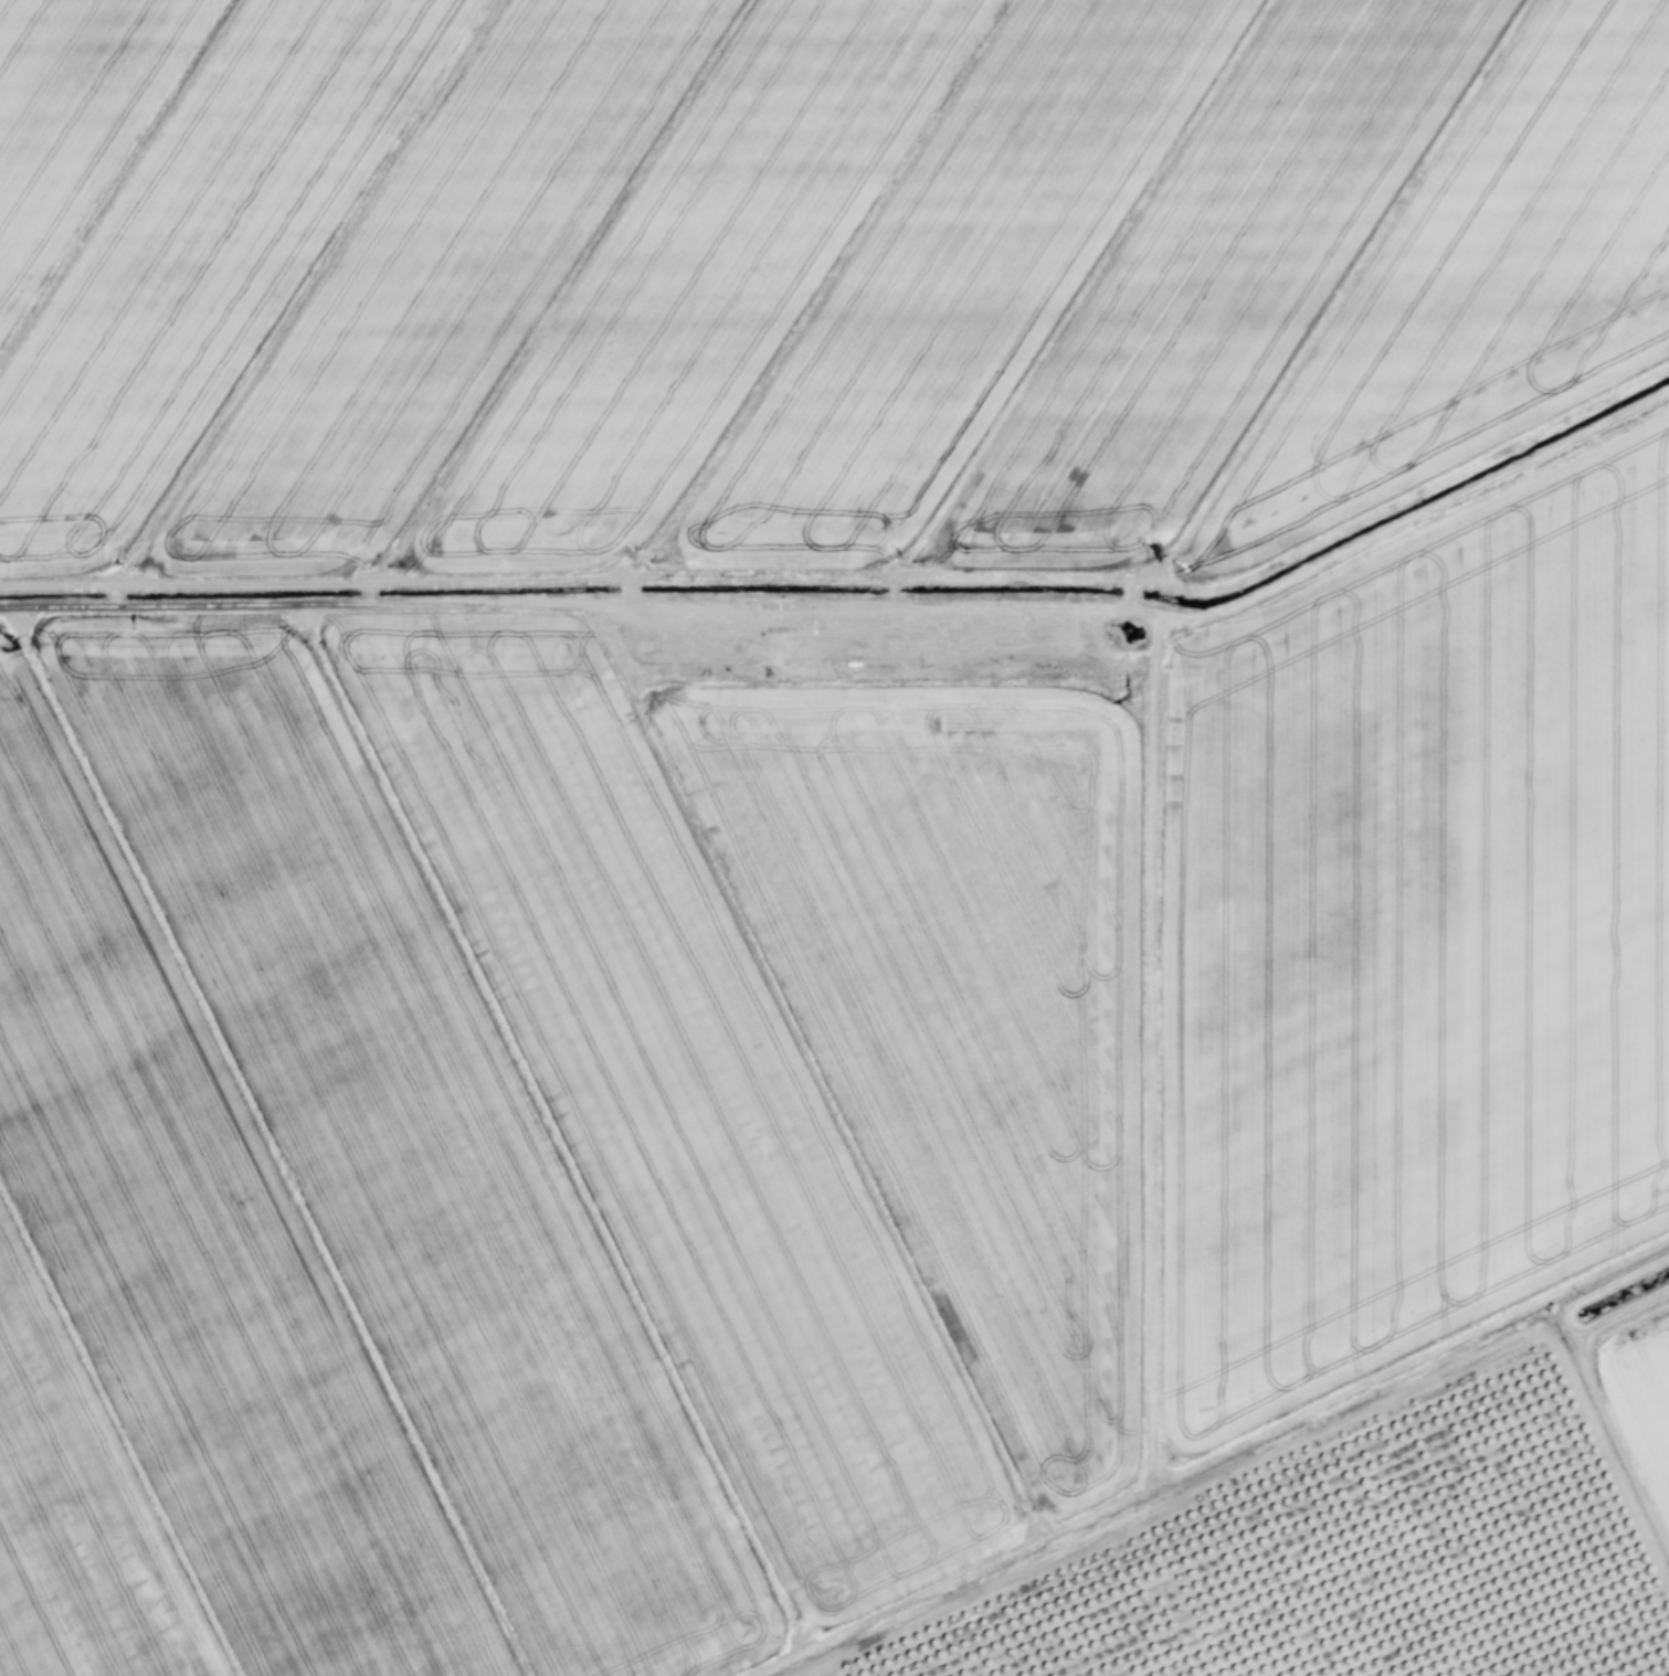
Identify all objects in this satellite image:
road: (1565, 1270)
road: (1275, 1411)

